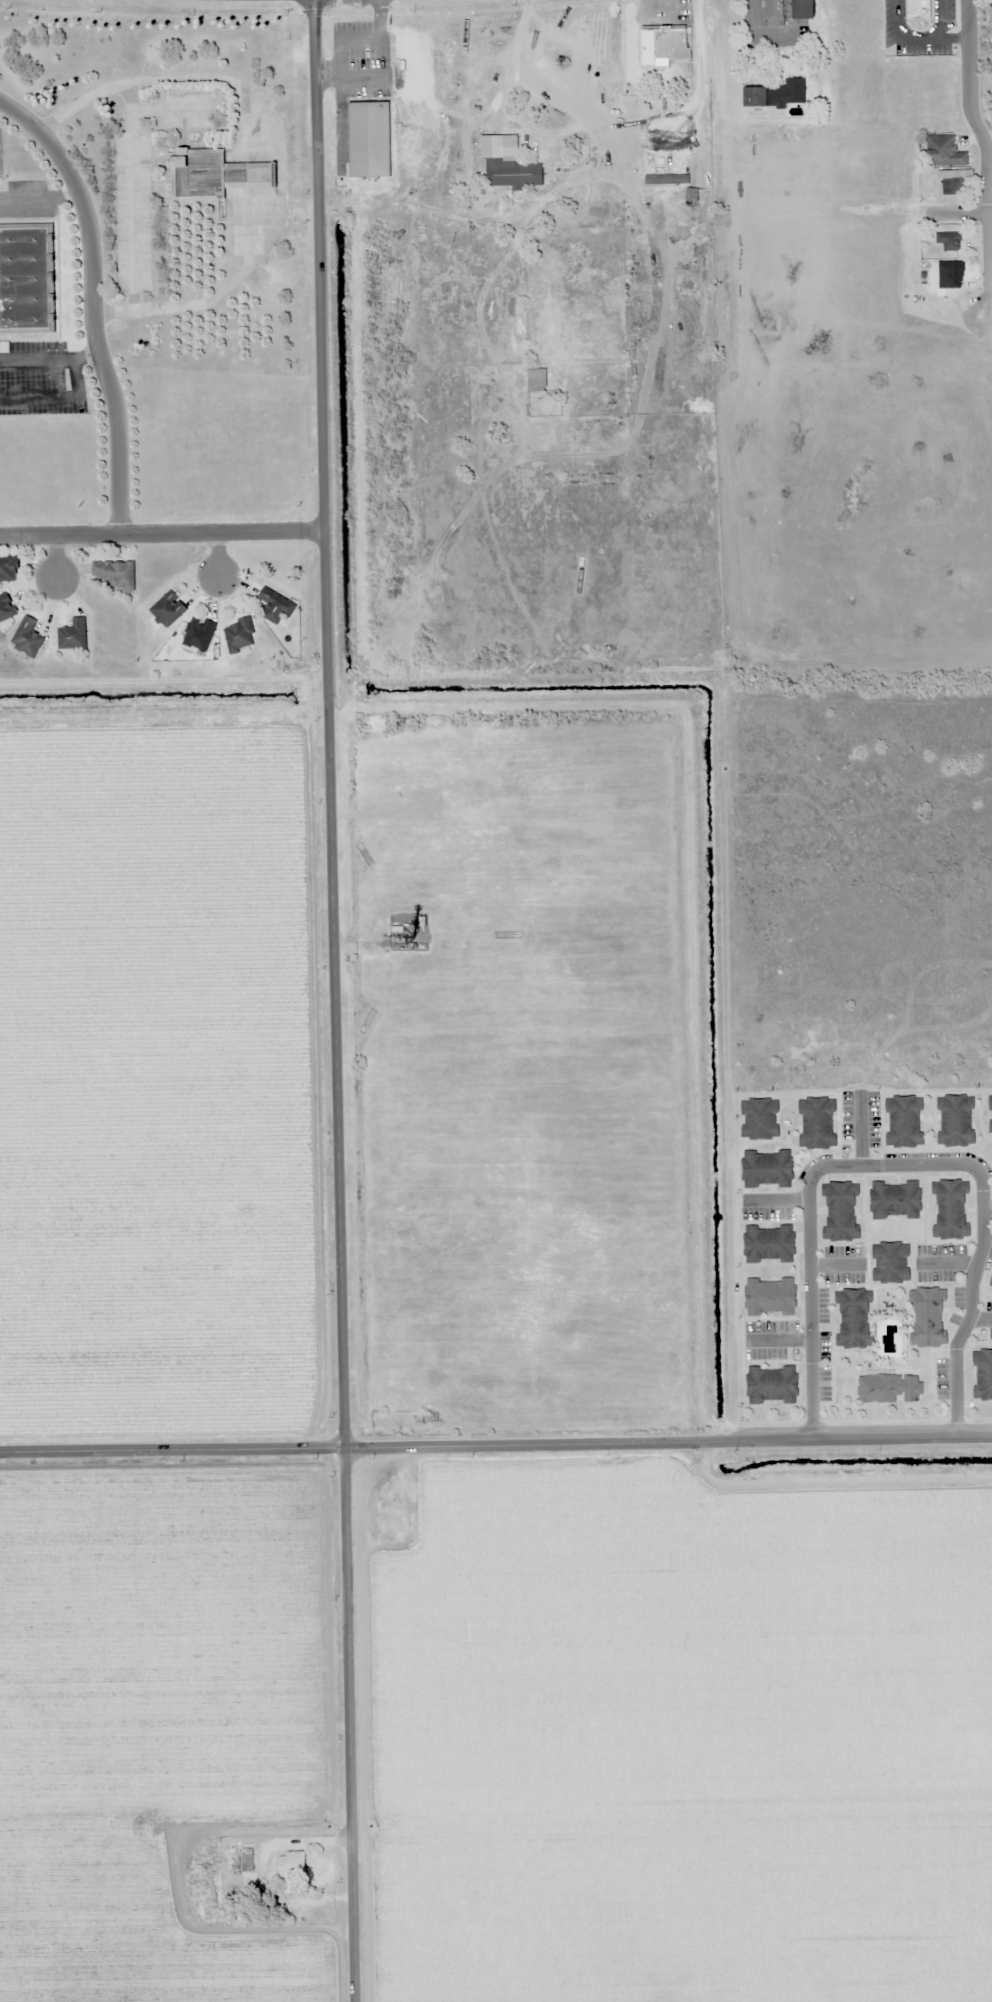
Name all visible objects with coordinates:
building: (918, 8)
building: (803, 9)
building: (773, 13)
building: (663, 45)
building: (792, 91)
building: (754, 96)
building: (369, 139)
building: (944, 152)
road: (987, 162)
building: (669, 165)
building: (214, 173)
building: (514, 173)
building: (951, 183)
road: (949, 211)
building: (948, 241)
building: (950, 274)
building: (25, 278)
road: (92, 303)
building: (547, 375)
road: (165, 533)
road: (219, 553)
road: (56, 557)
building: (8, 569)
building: (115, 575)
building: (275, 606)
building: (6, 607)
building: (168, 610)
building: (199, 634)
building: (73, 636)
building: (239, 636)
building: (27, 638)
road: (339, 1001)
building: (990, 1114)
building: (759, 1119)
building: (955, 1121)
building: (904, 1122)
building: (816, 1124)
building: (767, 1170)
building: (895, 1201)
building: (951, 1210)
building: (840, 1212)
building: (768, 1243)
building: (890, 1263)
building: (770, 1298)
building: (927, 1317)
building: (853, 1319)
building: (982, 1375)
building: (772, 1386)
building: (889, 1389)
building: (425, 1419)
road: (495, 1448)
building: (291, 1864)

